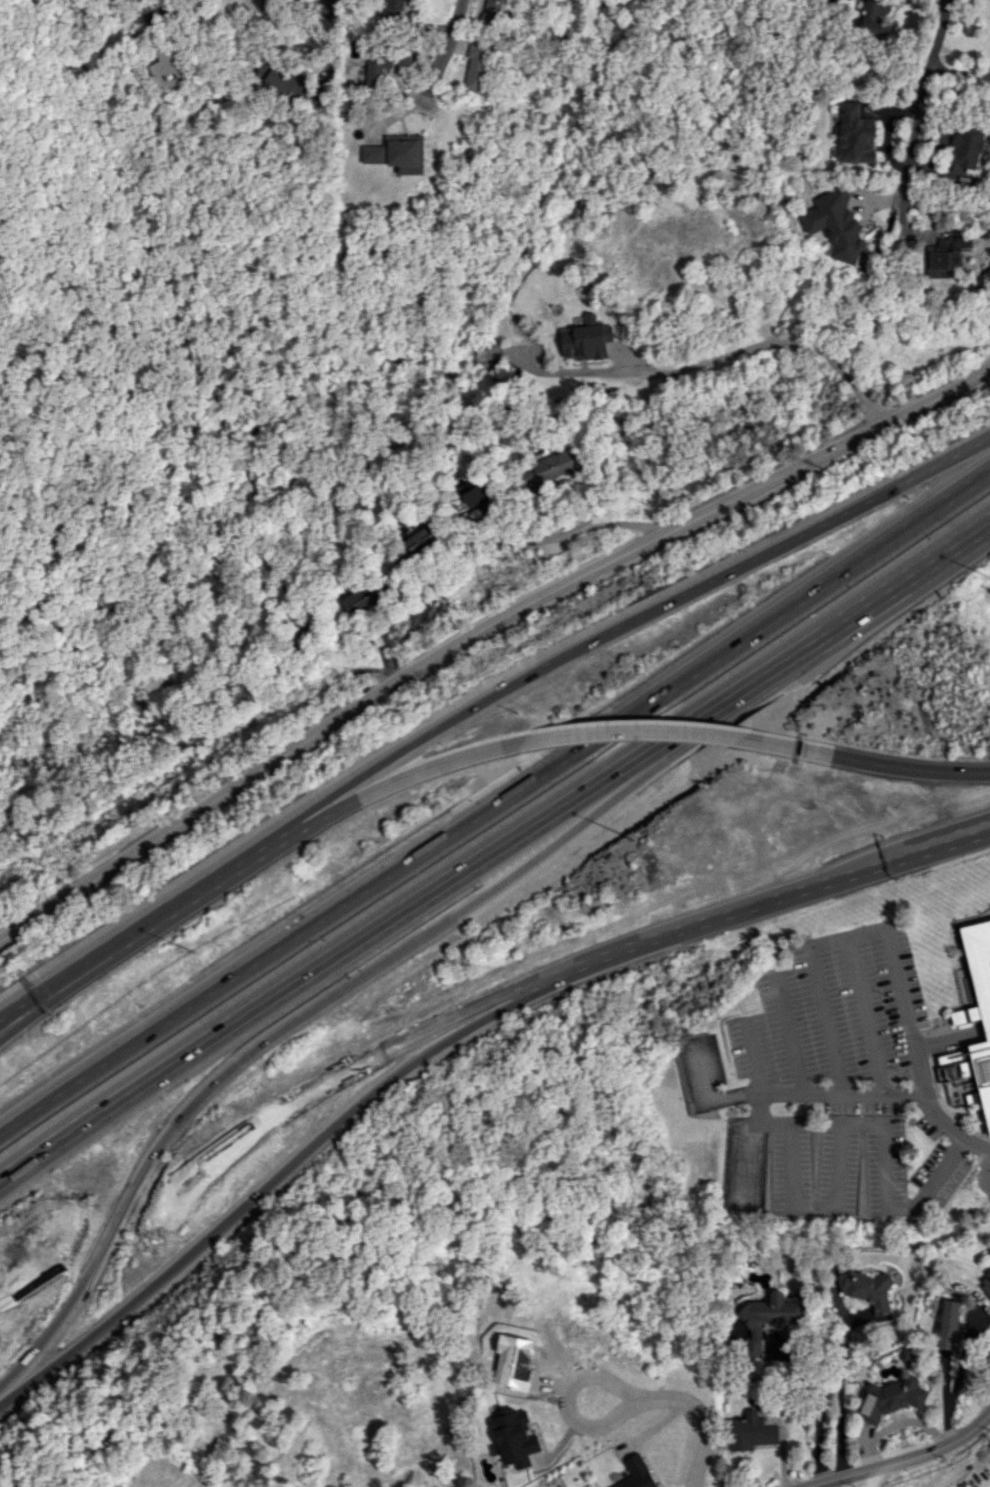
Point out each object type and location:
road: (263, 0)
building: (256, 4)
building: (392, 10)
road: (203, 12)
building: (492, 12)
building: (875, 16)
road: (339, 33)
road: (446, 47)
building: (384, 63)
building: (477, 67)
building: (169, 71)
building: (285, 80)
road: (922, 100)
building: (855, 135)
building: (968, 144)
building: (399, 153)
building: (838, 224)
building: (962, 242)
building: (940, 261)
road: (759, 345)
road: (201, 423)
building: (553, 468)
building: (474, 491)
road: (563, 505)
road: (563, 533)
road: (969, 534)
building: (424, 542)
building: (366, 598)
road: (416, 608)
road: (624, 622)
road: (478, 628)
road: (338, 672)
road: (629, 730)
road: (884, 765)
road: (376, 790)
road: (494, 799)
road: (633, 801)
road: (527, 828)
road: (757, 903)
road: (163, 909)
road: (894, 977)
building: (979, 998)
road: (25, 1001)
road: (25, 1013)
road: (864, 1014)
road: (825, 1019)
road: (790, 1034)
road: (754, 1055)
road: (342, 1076)
road: (887, 1094)
road: (708, 1097)
road: (839, 1139)
road: (52, 1145)
road: (746, 1159)
road: (985, 1170)
road: (131, 1192)
road: (259, 1192)
road: (117, 1220)
road: (32, 1276)
building: (986, 1282)
building: (867, 1290)
building: (768, 1318)
building: (948, 1325)
road: (839, 1398)
building: (891, 1398)
road: (569, 1405)
road: (820, 1405)
road: (698, 1418)
building: (750, 1433)
building: (513, 1439)
road: (904, 1459)
building: (636, 1473)
park: (868, 1481)

